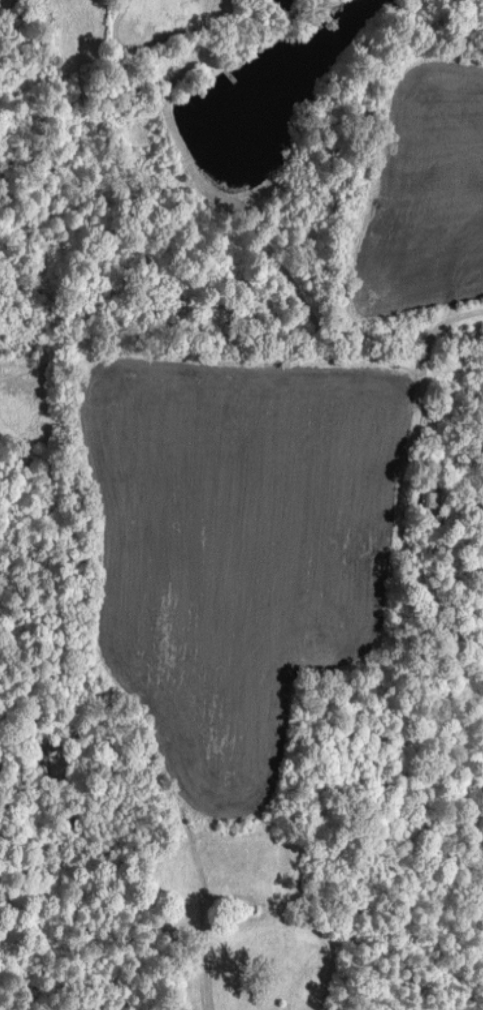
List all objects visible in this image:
building: (432, 494)

